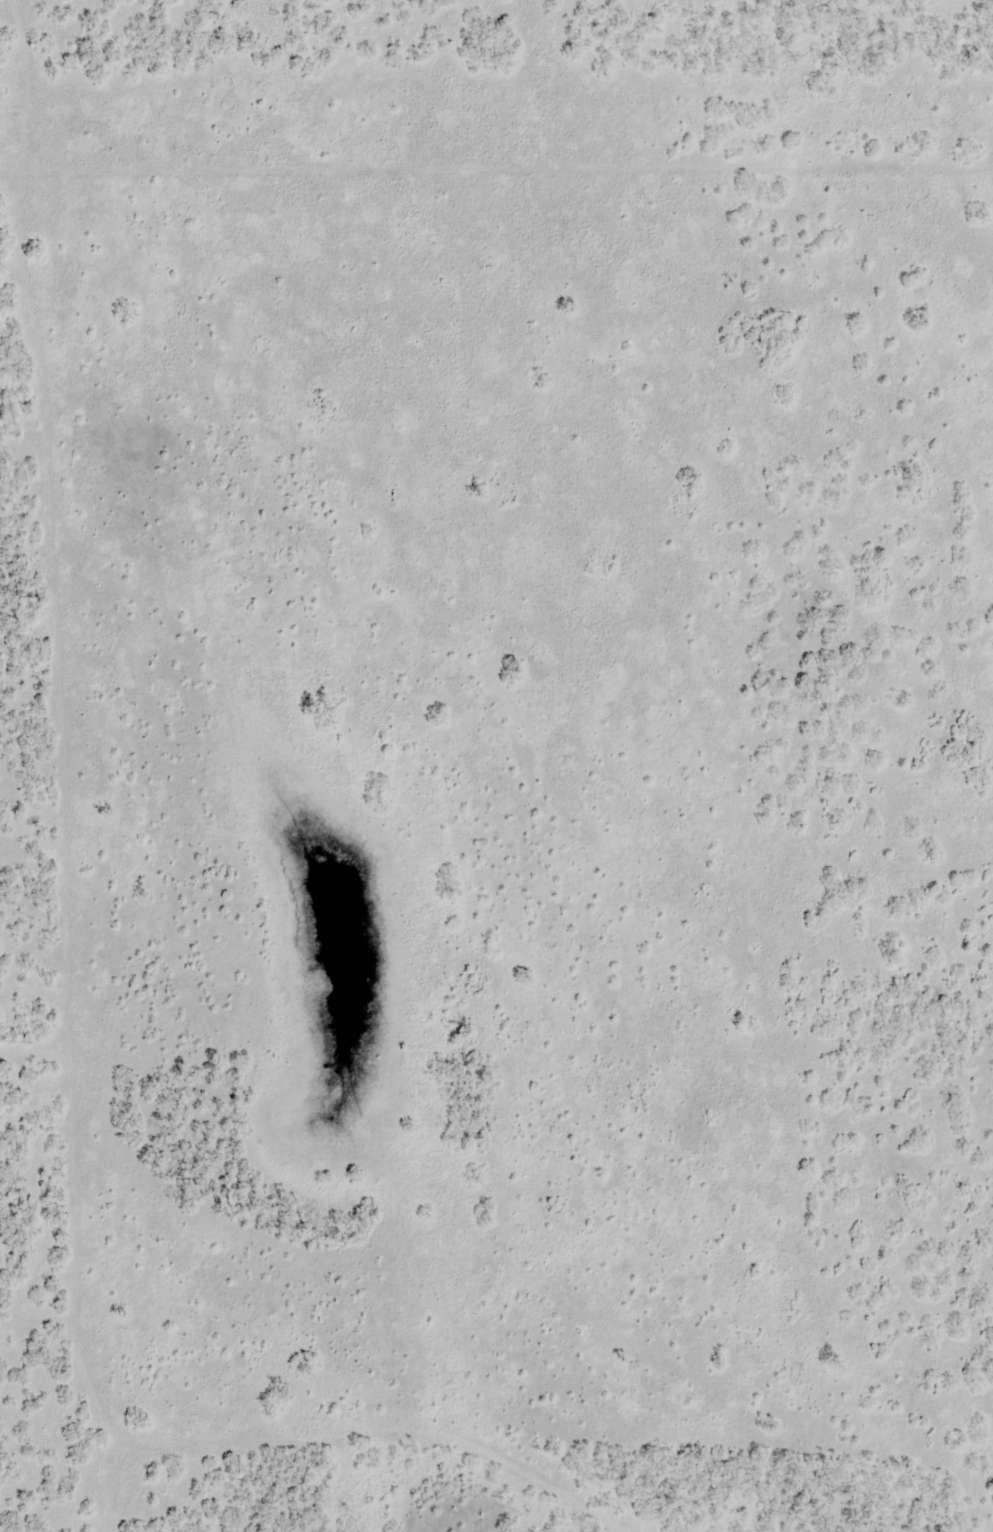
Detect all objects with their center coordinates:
road: (949, 1519)

